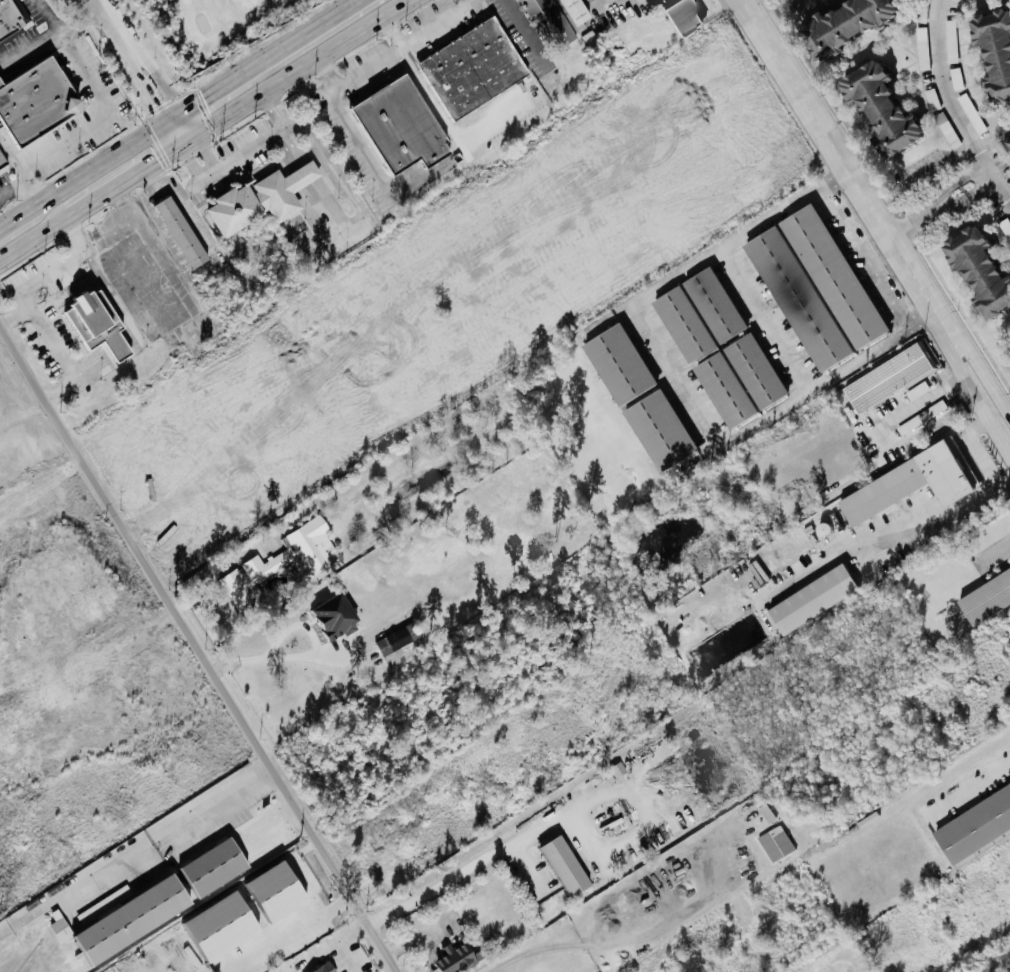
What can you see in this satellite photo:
road: (640, 0)
building: (951, 1)
road: (785, 5)
road: (103, 8)
road: (767, 16)
road: (52, 17)
building: (551, 17)
building: (676, 17)
building: (12, 19)
building: (842, 23)
park: (209, 27)
road: (51, 40)
building: (989, 53)
road: (270, 55)
road: (392, 58)
road: (302, 66)
road: (157, 69)
building: (465, 69)
road: (135, 70)
traffic signals: (207, 97)
traffic signals: (154, 101)
building: (37, 103)
road: (961, 106)
road: (447, 107)
building: (872, 110)
road: (108, 118)
building: (394, 127)
road: (174, 132)
traffic signals: (206, 145)
road: (362, 145)
road: (208, 148)
road: (837, 152)
road: (10, 155)
road: (232, 155)
traffic signals: (158, 158)
road: (191, 159)
building: (2, 165)
road: (91, 169)
road: (133, 173)
road: (12, 183)
road: (975, 183)
road: (30, 189)
building: (260, 200)
road: (926, 214)
road: (147, 223)
road: (27, 224)
building: (181, 232)
road: (35, 237)
road: (867, 255)
building: (972, 273)
building: (827, 277)
road: (40, 280)
building: (791, 299)
building: (709, 306)
road: (932, 307)
road: (769, 317)
road: (921, 317)
building: (98, 324)
road: (948, 324)
building: (678, 325)
road: (941, 328)
building: (1009, 342)
road: (58, 352)
road: (667, 362)
building: (613, 365)
building: (884, 378)
road: (987, 379)
building: (734, 381)
road: (925, 398)
road: (979, 402)
building: (655, 431)
road: (974, 450)
building: (902, 486)
road: (932, 509)
road: (995, 549)
building: (284, 561)
building: (983, 597)
building: (806, 600)
building: (338, 616)
building: (398, 639)
road: (205, 645)
road: (298, 659)
road: (967, 787)
building: (972, 824)
road: (167, 825)
road: (13, 830)
building: (776, 843)
building: (566, 866)
building: (218, 867)
road: (451, 878)
building: (280, 890)
building: (105, 904)
road: (31, 912)
building: (134, 921)
road: (295, 925)
building: (223, 928)
building: (62, 930)
road: (418, 933)
road: (340, 940)
road: (618, 941)
building: (454, 959)
building: (327, 968)
road: (397, 970)

